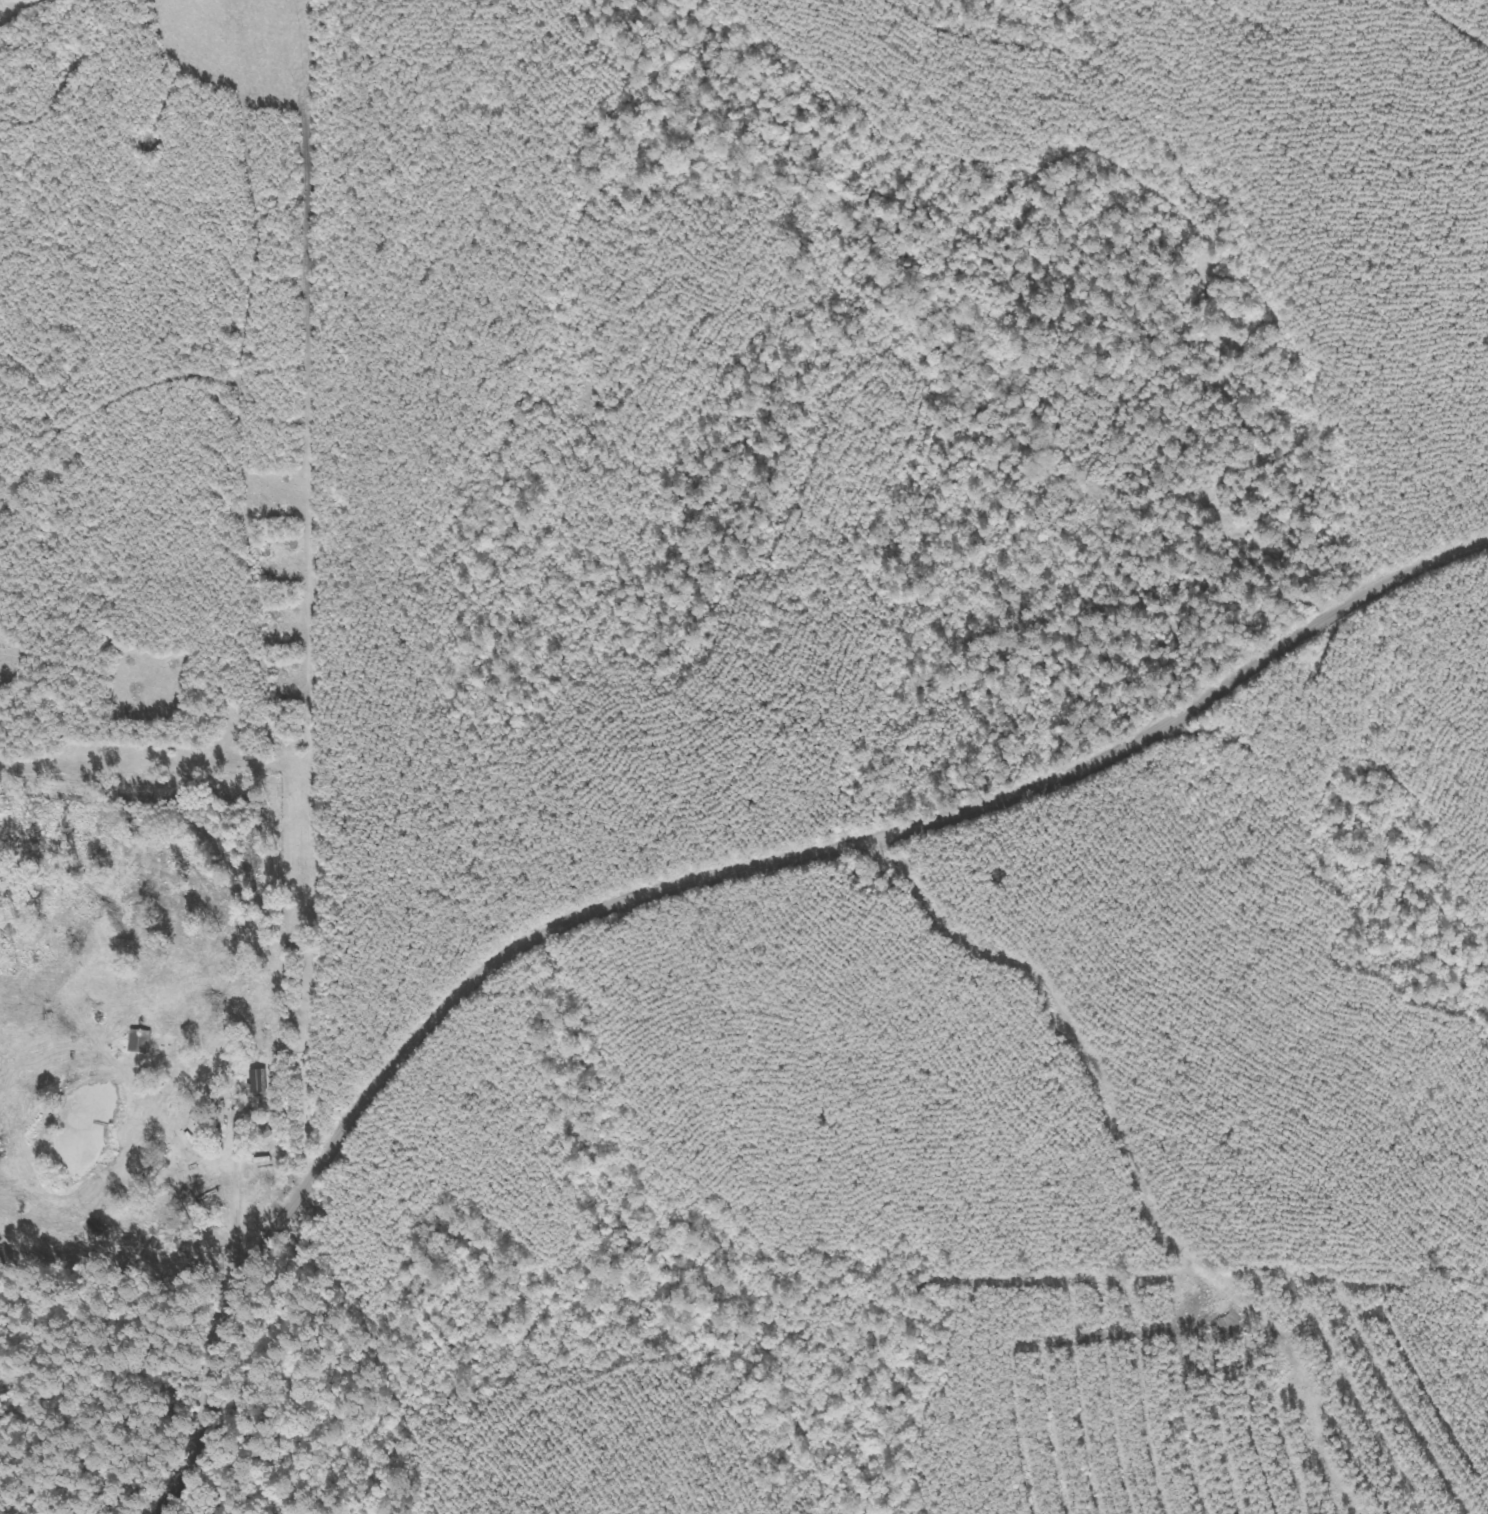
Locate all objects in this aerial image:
road: (681, 894)
building: (130, 1039)
building: (254, 1080)

